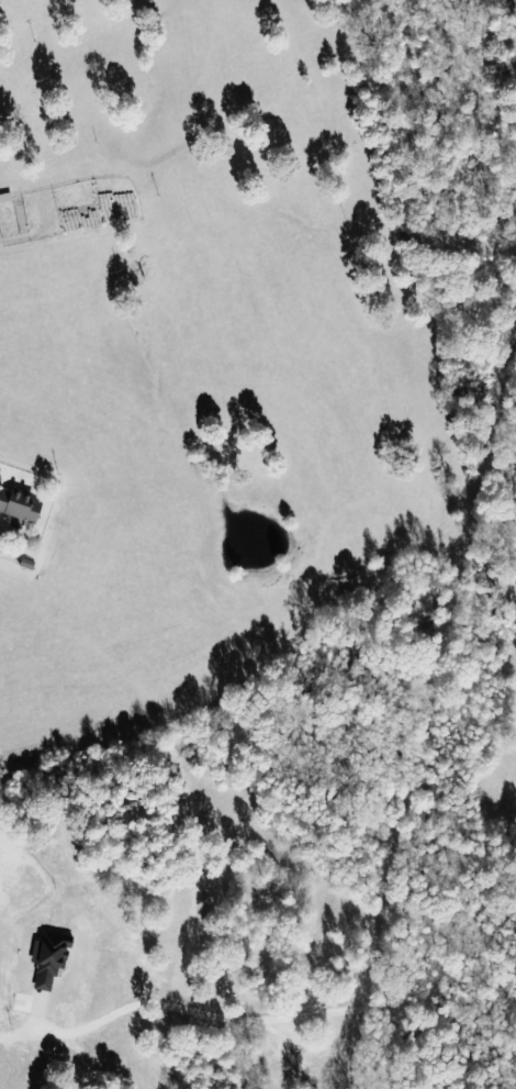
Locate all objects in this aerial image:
building: (19, 507)
road: (395, 949)
building: (47, 964)
road: (7, 1058)

